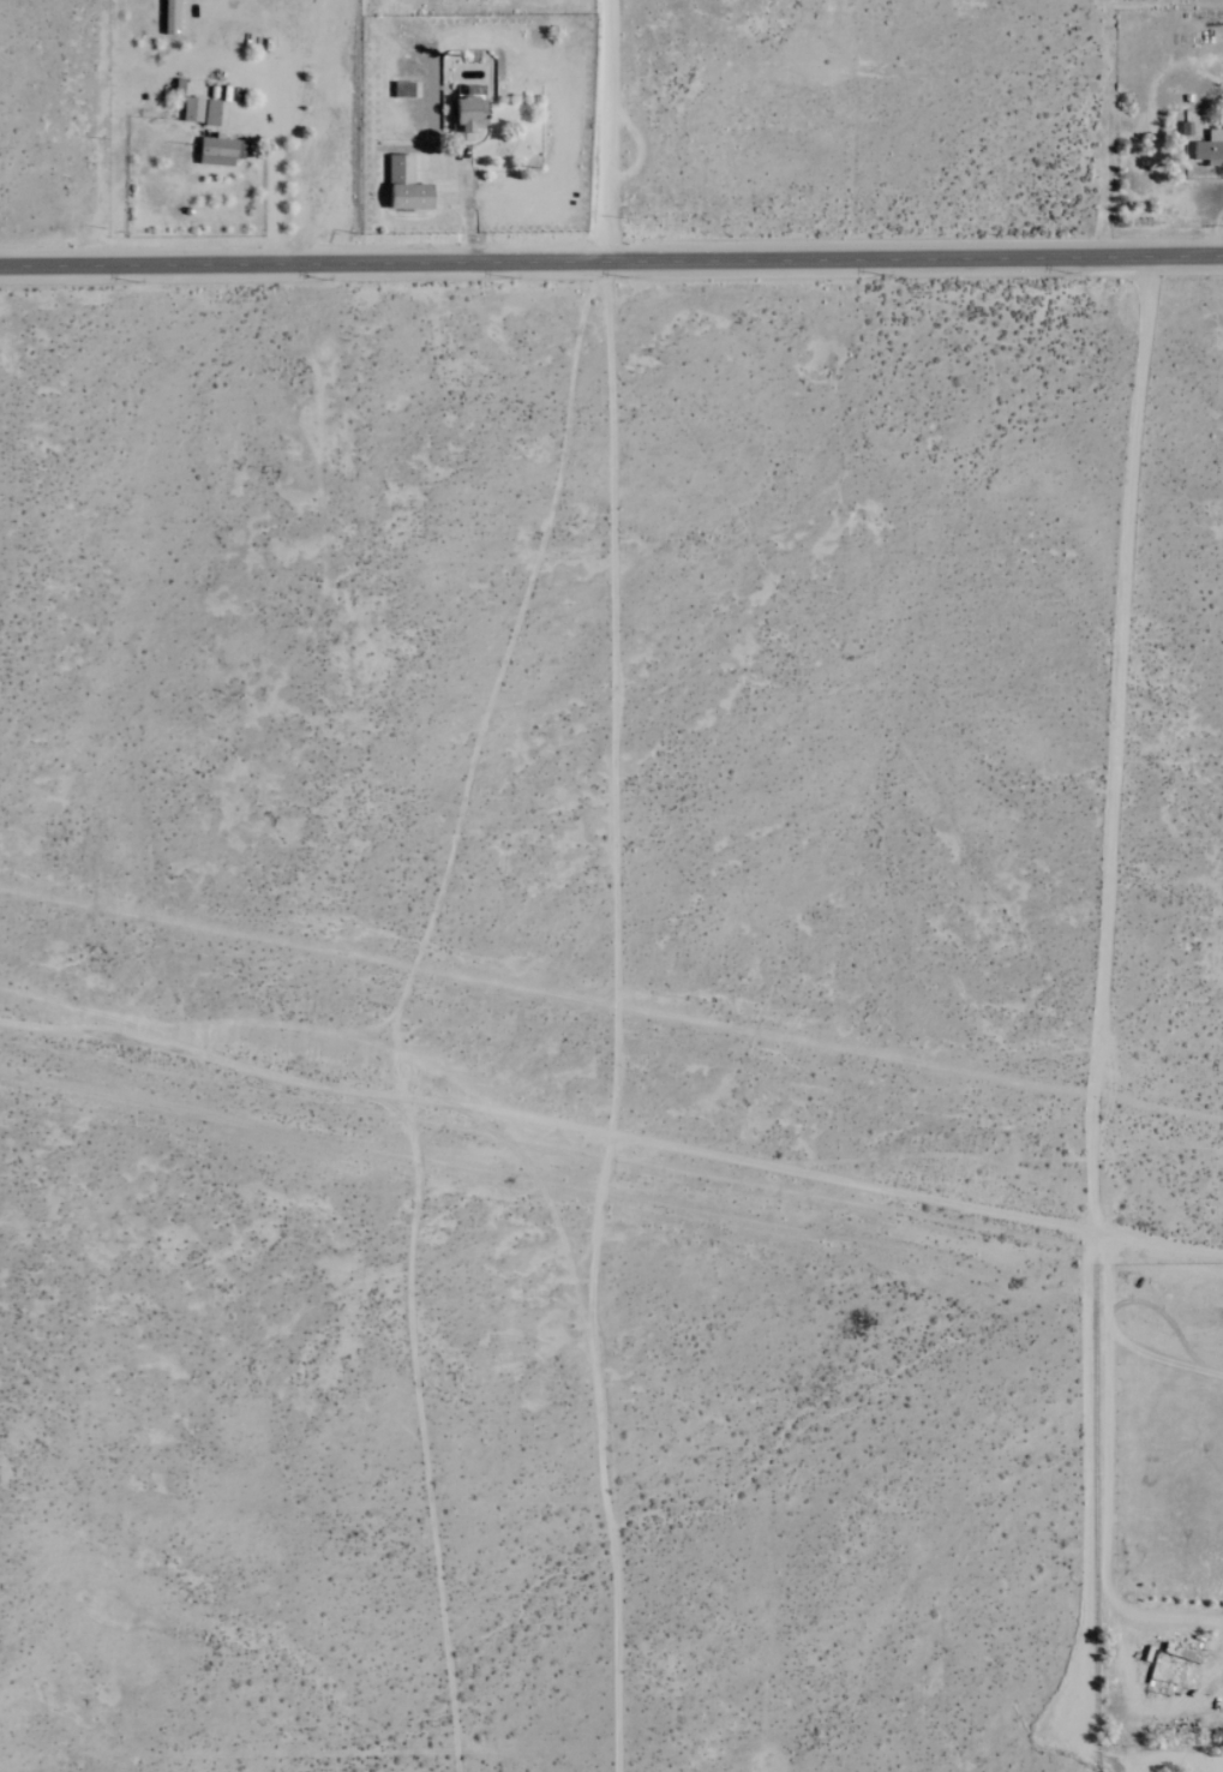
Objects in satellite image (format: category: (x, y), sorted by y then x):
building: (191, 112)
building: (466, 119)
road: (608, 130)
building: (1210, 150)
building: (215, 154)
building: (404, 187)
road: (611, 258)
road: (1102, 1448)

